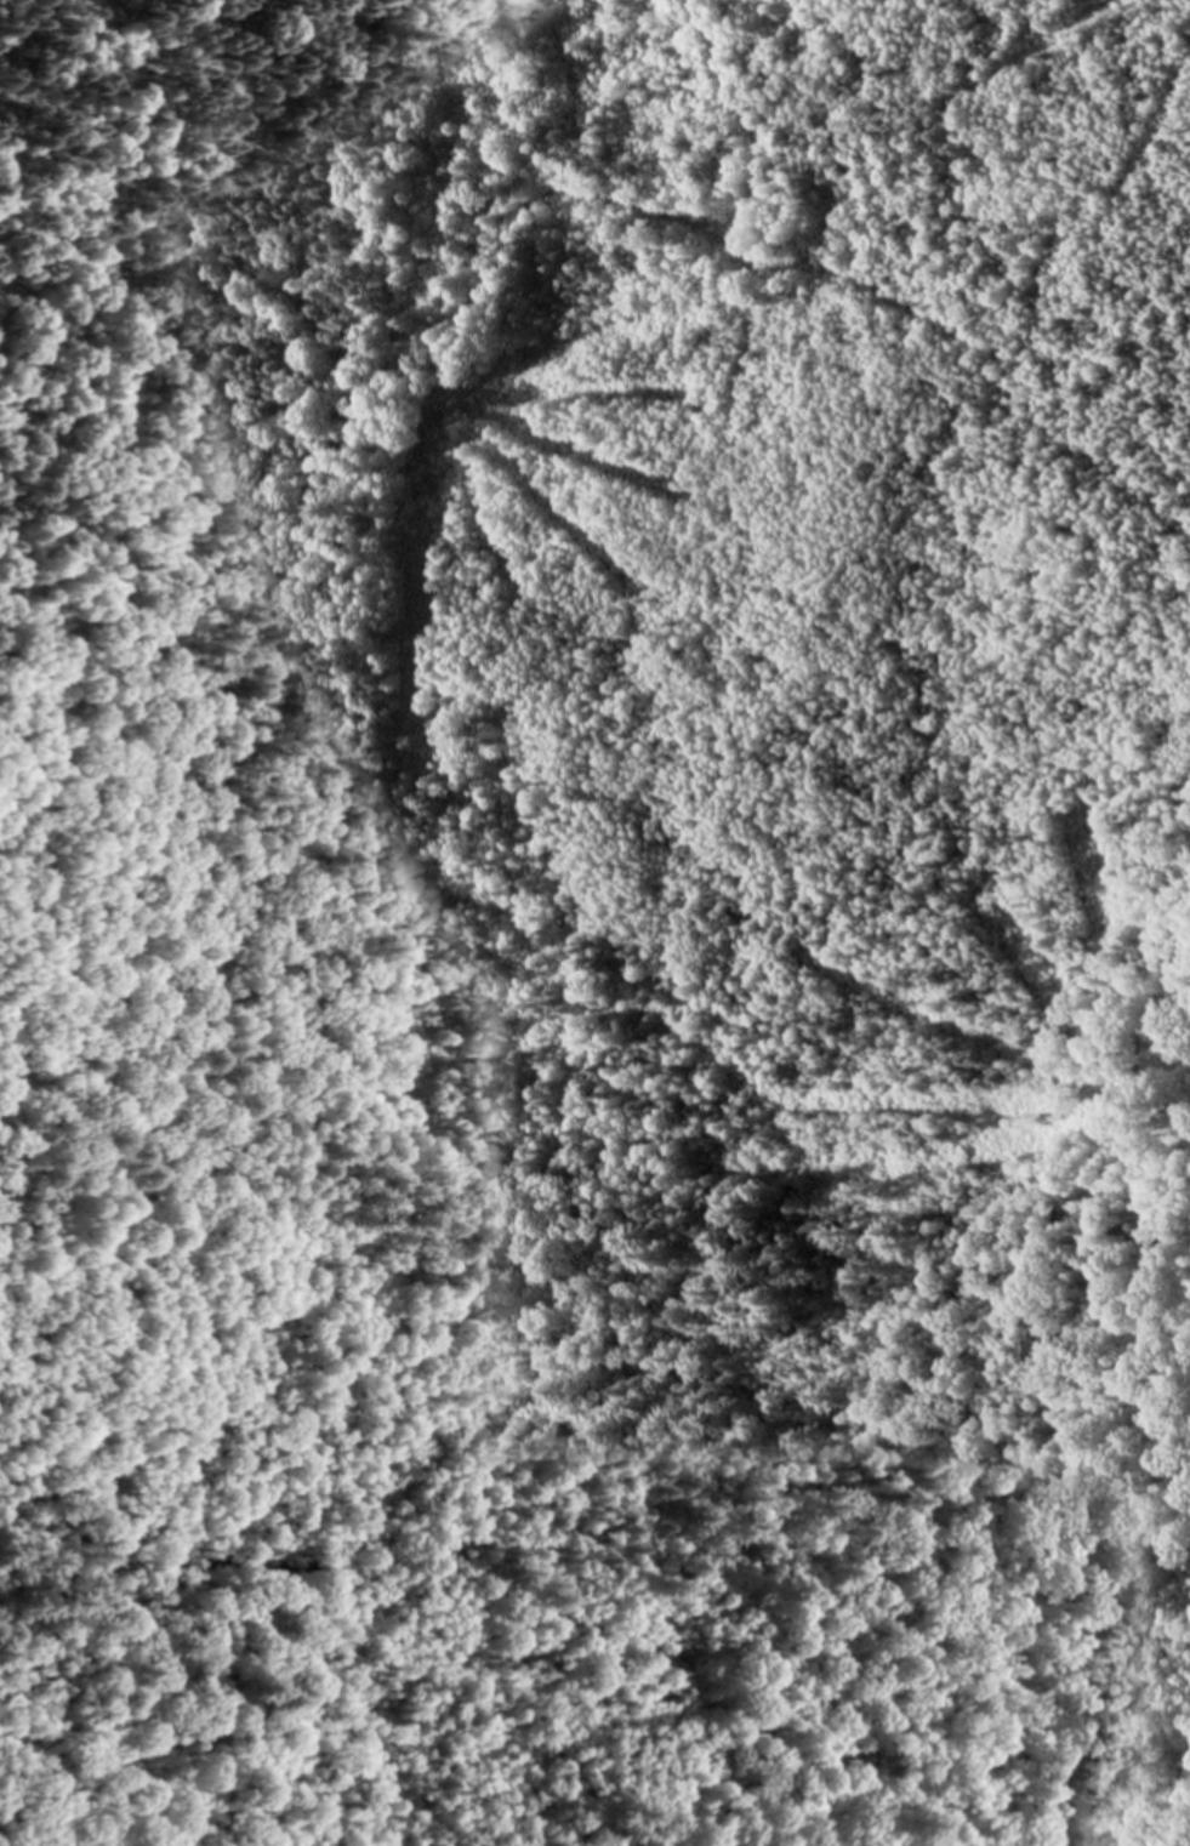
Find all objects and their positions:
road: (744, 118)

